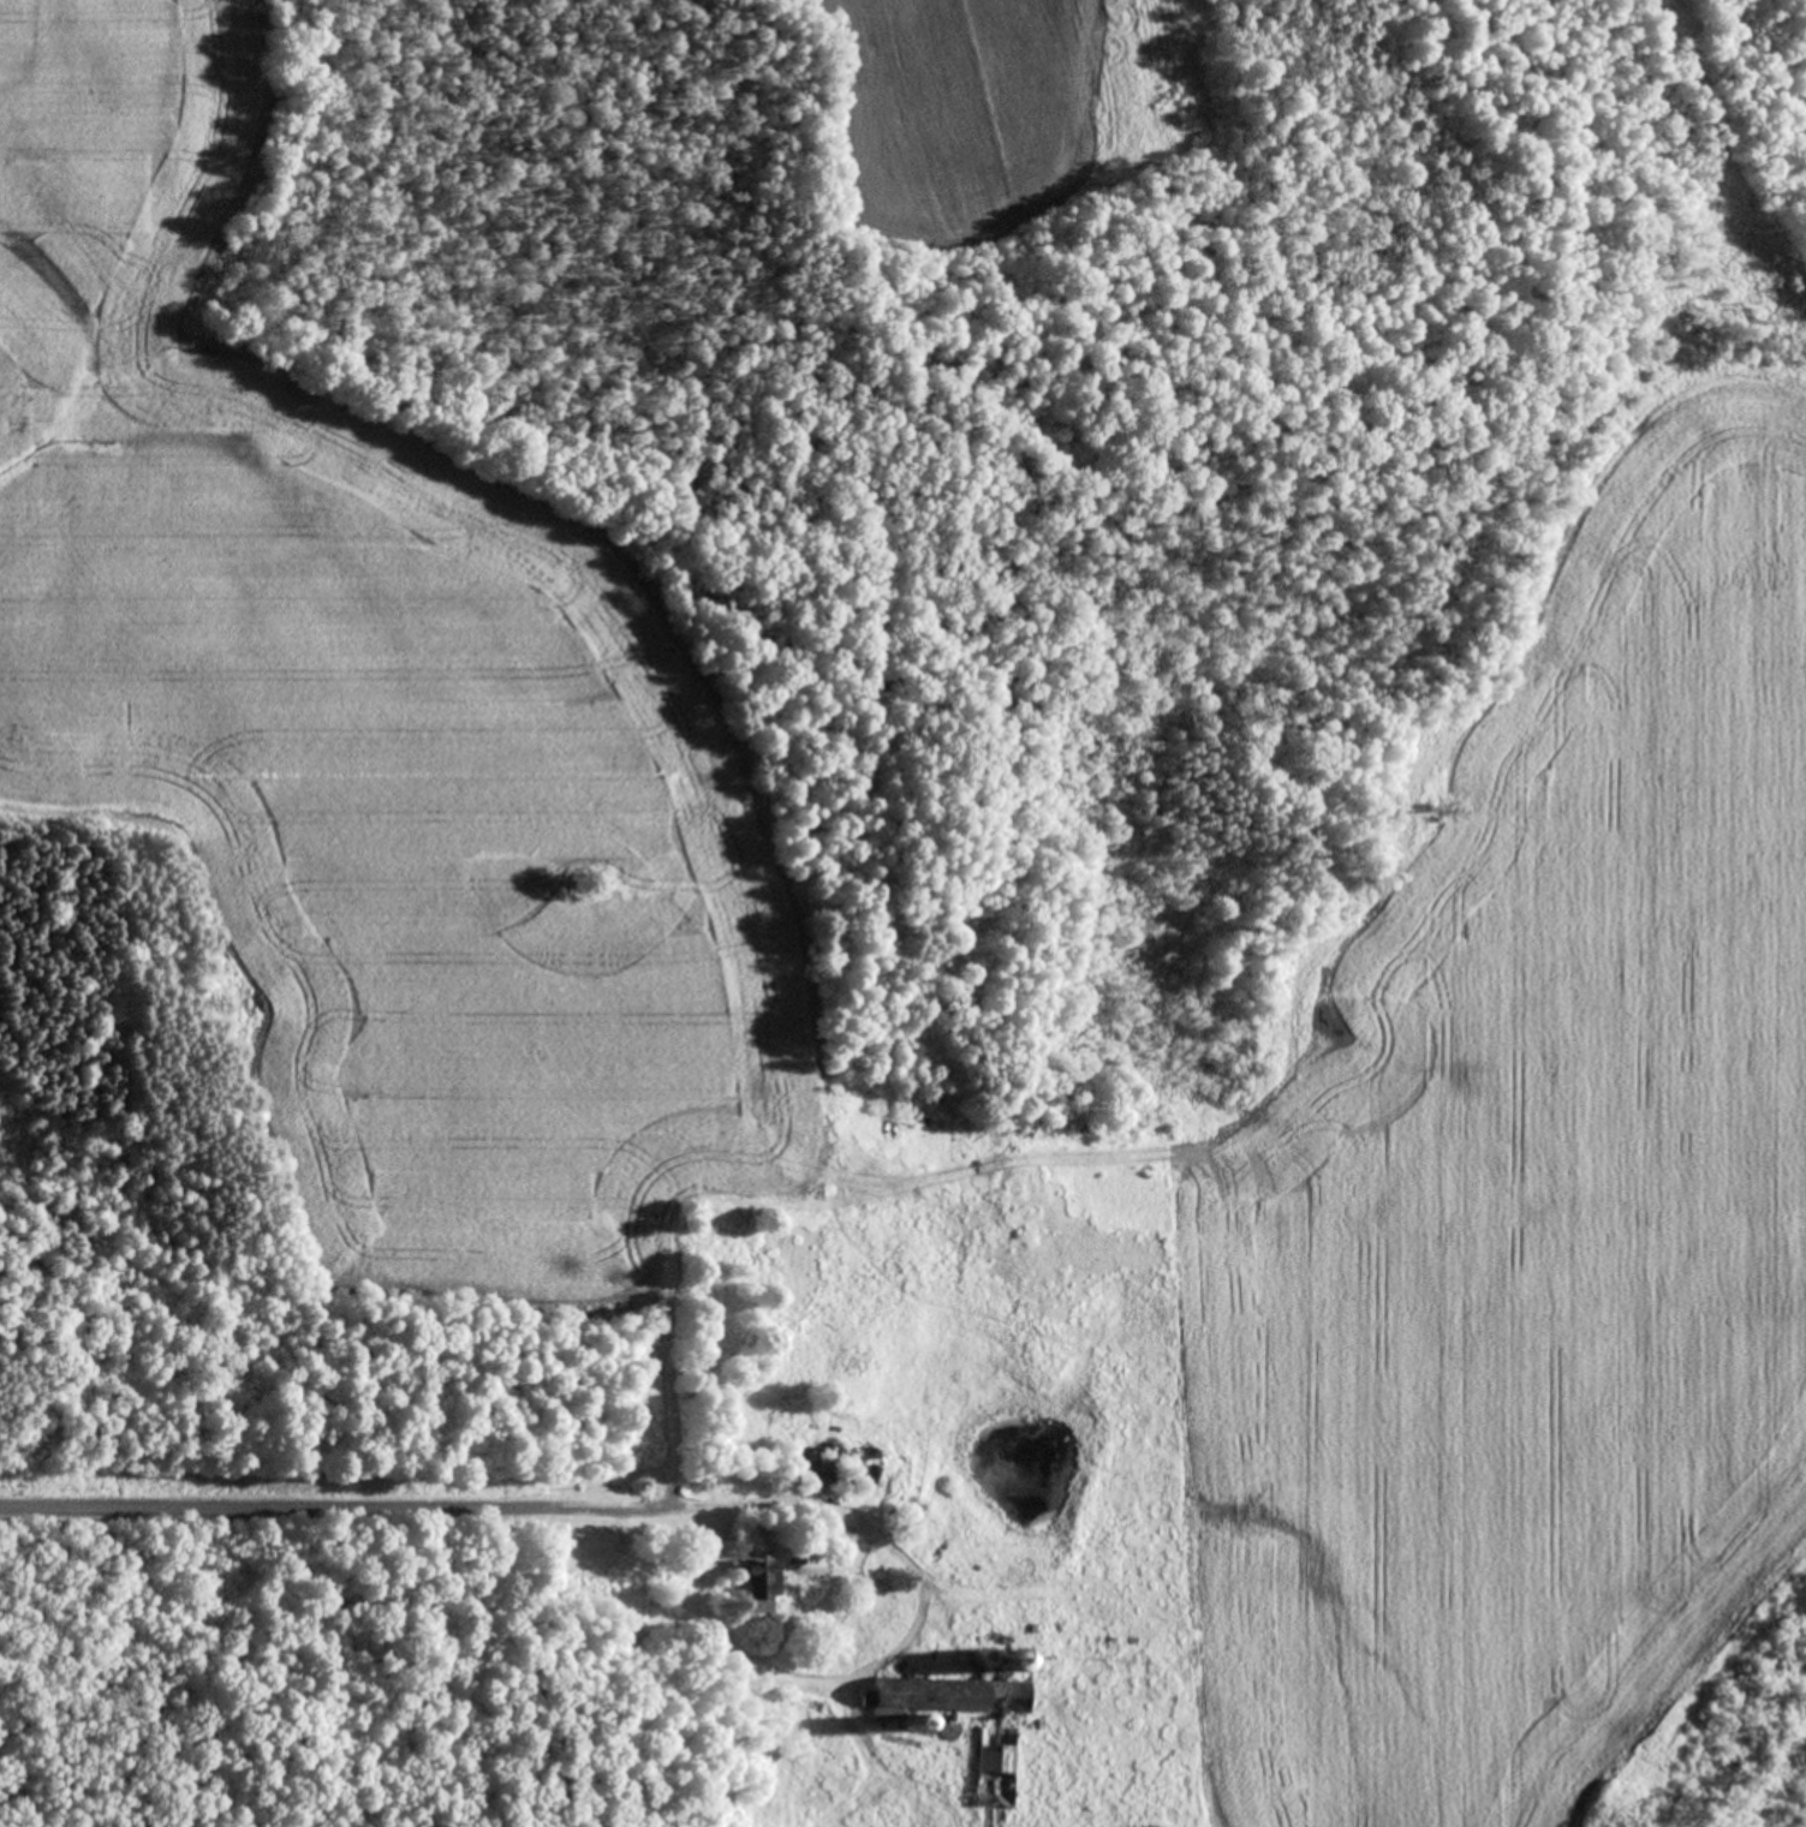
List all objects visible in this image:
building: (800, 1468)
road: (374, 1583)
building: (751, 1587)
building: (938, 1702)
building: (989, 1779)

